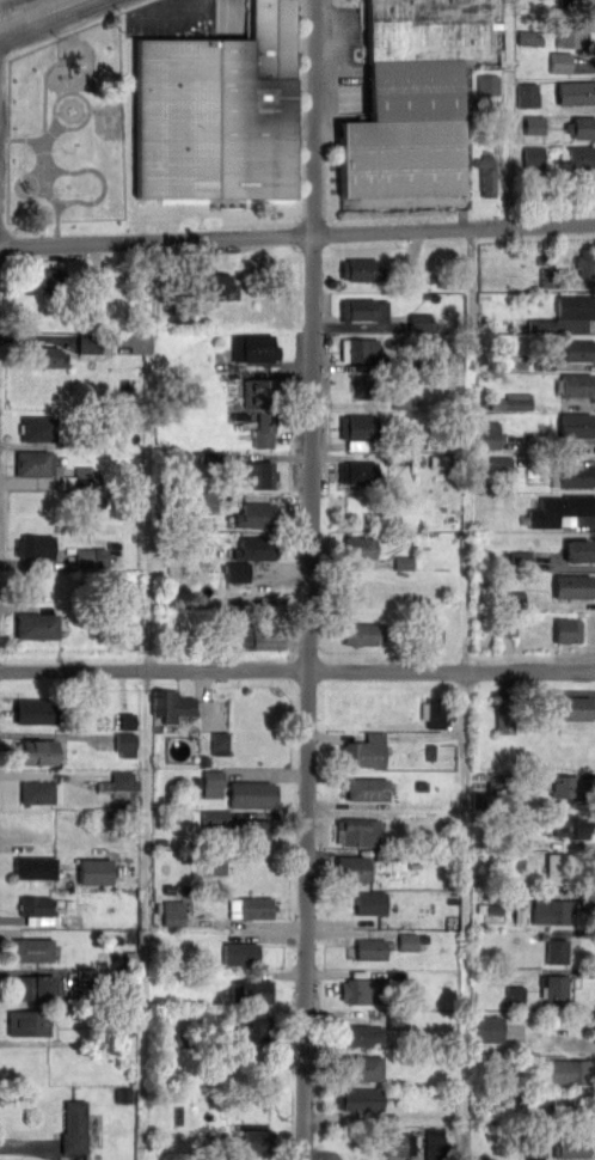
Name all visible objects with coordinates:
building: (578, 1)
road: (33, 13)
road: (189, 16)
parking lot: (188, 18)
building: (572, 31)
building: (530, 37)
parking lot: (349, 62)
building: (560, 62)
building: (489, 85)
building: (576, 92)
building: (527, 94)
building: (410, 99)
building: (217, 111)
building: (534, 124)
building: (582, 127)
building: (533, 157)
building: (581, 158)
road: (501, 167)
building: (486, 173)
road: (296, 234)
building: (585, 261)
building: (362, 269)
building: (548, 277)
building: (44, 281)
building: (220, 287)
building: (361, 310)
building: (568, 313)
building: (419, 322)
building: (93, 342)
building: (256, 347)
building: (361, 349)
building: (579, 349)
building: (48, 356)
building: (578, 384)
building: (366, 386)
building: (400, 402)
building: (514, 402)
building: (262, 408)
building: (577, 425)
building: (358, 426)
building: (38, 428)
building: (489, 434)
building: (440, 462)
building: (37, 463)
building: (501, 465)
building: (357, 471)
building: (262, 474)
building: (572, 475)
building: (207, 501)
building: (560, 511)
building: (257, 514)
building: (36, 545)
building: (360, 547)
building: (256, 548)
building: (579, 550)
building: (91, 557)
building: (238, 570)
road: (312, 580)
building: (575, 585)
building: (36, 624)
building: (507, 627)
building: (570, 629)
building: (434, 631)
building: (360, 633)
building: (249, 634)
road: (297, 671)
building: (170, 703)
building: (577, 708)
building: (36, 712)
building: (435, 712)
building: (504, 715)
building: (220, 743)
building: (125, 745)
building: (35, 751)
building: (364, 752)
building: (123, 780)
building: (495, 782)
building: (213, 783)
building: (566, 787)
building: (368, 789)
building: (39, 792)
building: (251, 794)
building: (215, 817)
building: (570, 828)
building: (254, 830)
building: (357, 831)
building: (519, 838)
building: (35, 867)
building: (557, 867)
building: (352, 869)
building: (94, 872)
building: (369, 903)
building: (251, 908)
building: (37, 910)
building: (551, 910)
building: (173, 912)
road: (471, 915)
building: (407, 941)
building: (32, 948)
building: (369, 950)
building: (556, 951)
building: (240, 953)
building: (33, 988)
building: (363, 990)
building: (553, 990)
building: (251, 991)
building: (515, 995)
building: (27, 1021)
building: (252, 1027)
building: (490, 1028)
building: (358, 1034)
building: (357, 1068)
building: (565, 1073)
building: (357, 1099)
building: (562, 1109)
building: (74, 1127)
building: (254, 1141)
building: (398, 1143)
building: (435, 1144)
building: (571, 1146)
building: (535, 1147)

